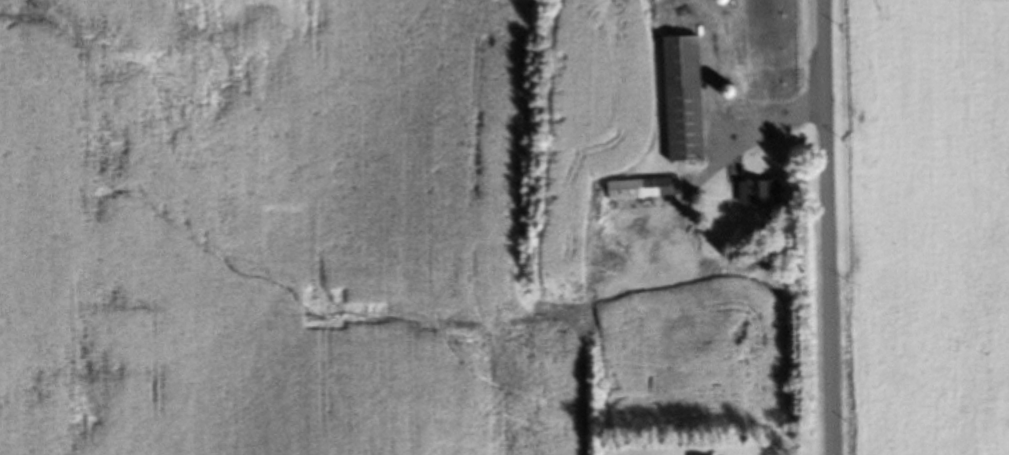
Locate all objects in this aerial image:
building: (745, 19)
building: (744, 50)
building: (745, 85)
building: (678, 103)
road: (716, 155)
building: (641, 192)
building: (764, 194)
road: (828, 227)

